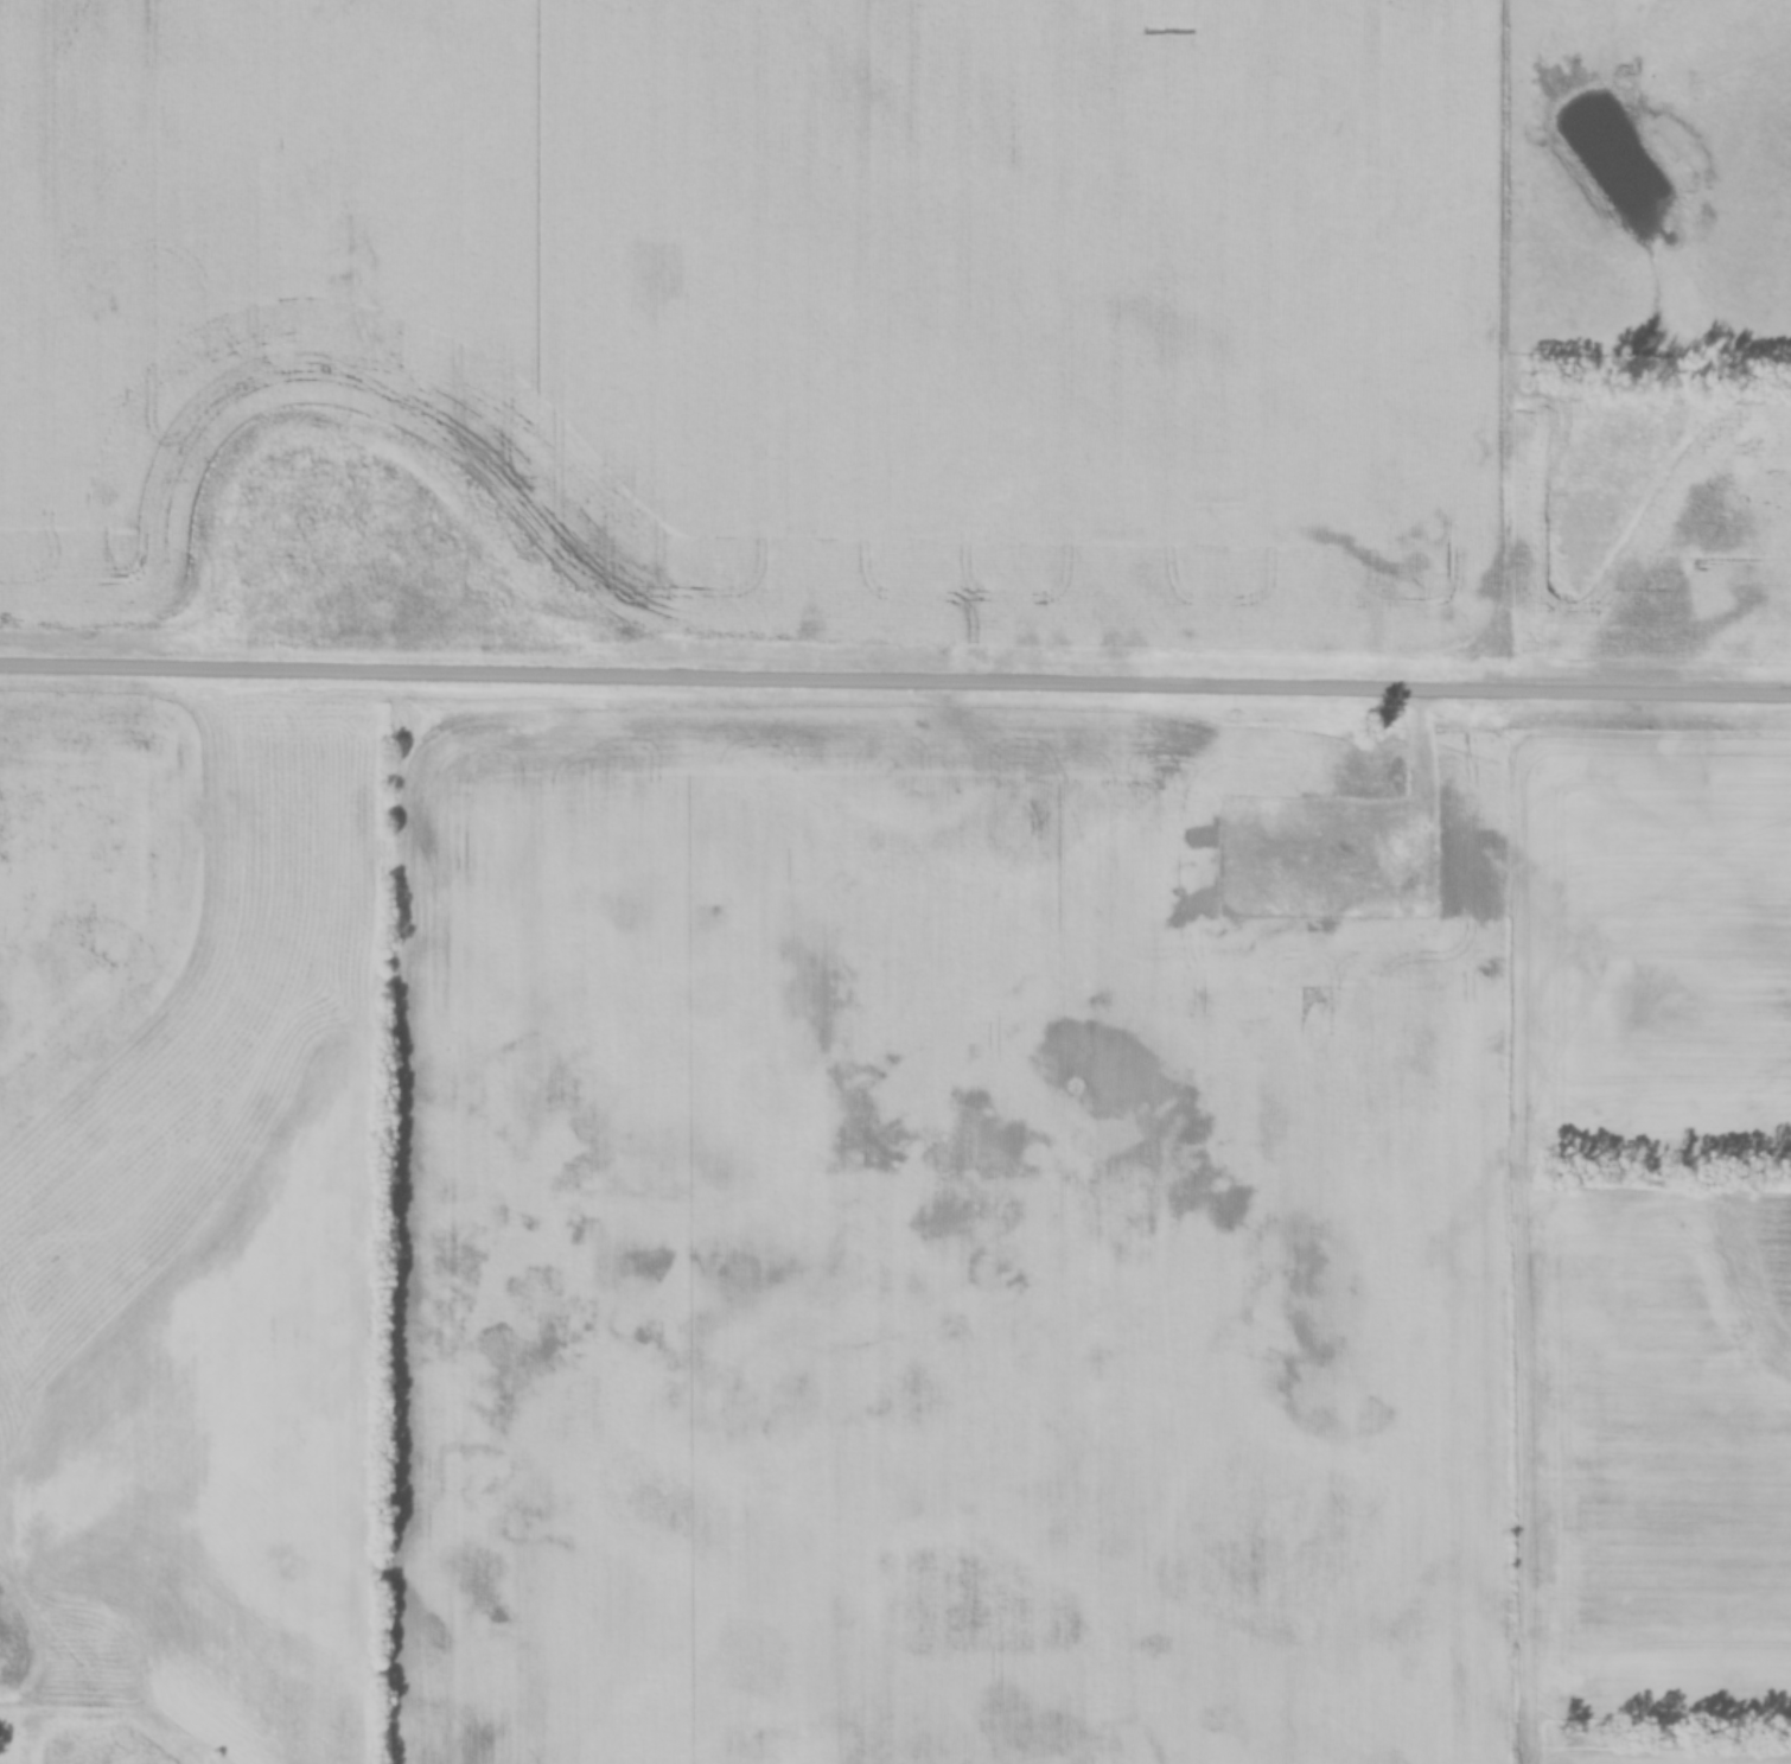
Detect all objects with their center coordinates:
road: (896, 684)

